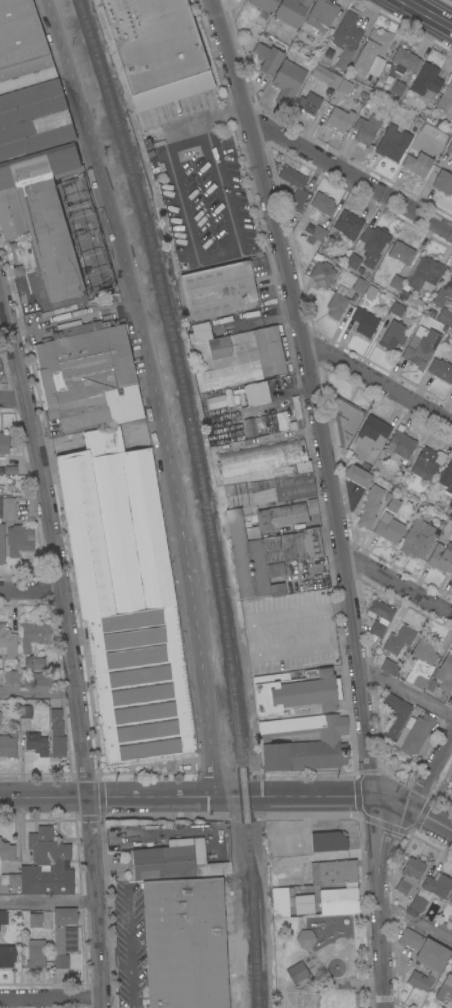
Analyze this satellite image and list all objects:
building: (264, 5)
building: (292, 11)
road: (424, 15)
building: (319, 18)
building: (346, 39)
building: (378, 40)
building: (22, 47)
building: (157, 50)
building: (267, 59)
building: (404, 61)
building: (375, 66)
building: (325, 76)
building: (288, 81)
building: (427, 82)
building: (344, 87)
building: (397, 90)
building: (446, 99)
building: (309, 103)
road: (212, 115)
building: (339, 119)
building: (366, 129)
building: (393, 142)
building: (450, 147)
building: (417, 164)
road: (351, 176)
building: (443, 182)
building: (295, 185)
building: (38, 191)
building: (323, 203)
building: (348, 224)
building: (318, 233)
building: (373, 244)
building: (399, 254)
road: (210, 255)
building: (353, 261)
building: (425, 273)
building: (322, 274)
building: (396, 283)
building: (364, 288)
building: (443, 290)
building: (220, 291)
building: (411, 299)
building: (98, 300)
building: (336, 306)
building: (64, 308)
building: (398, 308)
building: (445, 316)
road: (72, 317)
building: (364, 322)
building: (68, 324)
building: (392, 335)
building: (421, 347)
building: (238, 359)
building: (85, 362)
building: (441, 370)
road: (378, 383)
road: (152, 392)
road: (13, 398)
building: (215, 402)
building: (262, 408)
building: (98, 409)
building: (345, 419)
building: (372, 434)
building: (4, 443)
building: (401, 443)
building: (263, 456)
building: (427, 463)
building: (10, 470)
building: (358, 476)
building: (446, 478)
building: (269, 485)
railway: (193, 497)
railway: (205, 497)
road: (333, 501)
building: (393, 505)
building: (370, 506)
building: (7, 508)
building: (261, 520)
building: (388, 528)
building: (418, 538)
building: (19, 539)
building: (1, 543)
building: (441, 557)
building: (272, 560)
road: (398, 585)
road: (32, 589)
building: (126, 599)
building: (379, 610)
building: (377, 629)
building: (34, 635)
building: (399, 639)
building: (7, 643)
road: (72, 646)
building: (421, 663)
building: (34, 664)
building: (390, 667)
building: (444, 675)
building: (11, 677)
building: (38, 679)
road: (405, 690)
road: (39, 692)
building: (295, 692)
building: (25, 712)
building: (394, 715)
building: (0, 717)
building: (57, 734)
building: (416, 735)
building: (36, 743)
building: (304, 743)
building: (8, 745)
road: (429, 778)
building: (451, 778)
building: (451, 780)
road: (230, 795)
road: (171, 831)
building: (329, 841)
building: (7, 851)
building: (178, 861)
building: (47, 865)
building: (333, 872)
building: (410, 876)
building: (10, 880)
building: (431, 890)
building: (339, 898)
building: (451, 900)
building: (280, 901)
road: (49, 903)
building: (304, 904)
building: (3, 917)
building: (35, 920)
road: (417, 924)
building: (442, 926)
road: (128, 930)
building: (62, 934)
building: (306, 939)
building: (185, 943)
building: (36, 954)
building: (7, 956)
building: (424, 958)
building: (297, 972)
road: (131, 973)
building: (445, 989)
road: (51, 997)

